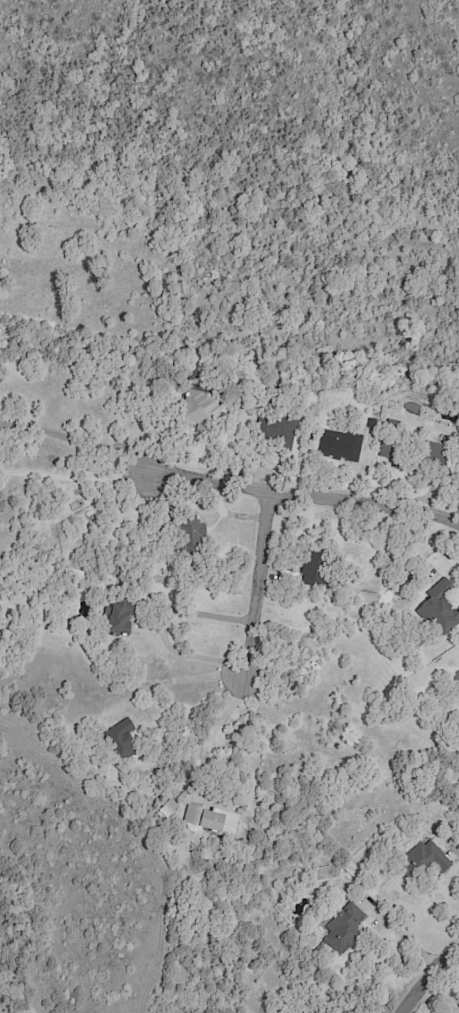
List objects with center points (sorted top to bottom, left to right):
building: (198, 409)
building: (278, 431)
road: (75, 440)
building: (340, 445)
road: (71, 480)
road: (300, 500)
building: (195, 533)
building: (312, 567)
road: (254, 585)
building: (440, 611)
building: (122, 617)
road: (178, 679)
road: (217, 724)
building: (123, 739)
building: (210, 820)
building: (428, 857)
building: (345, 927)
road: (402, 936)
road: (426, 980)

